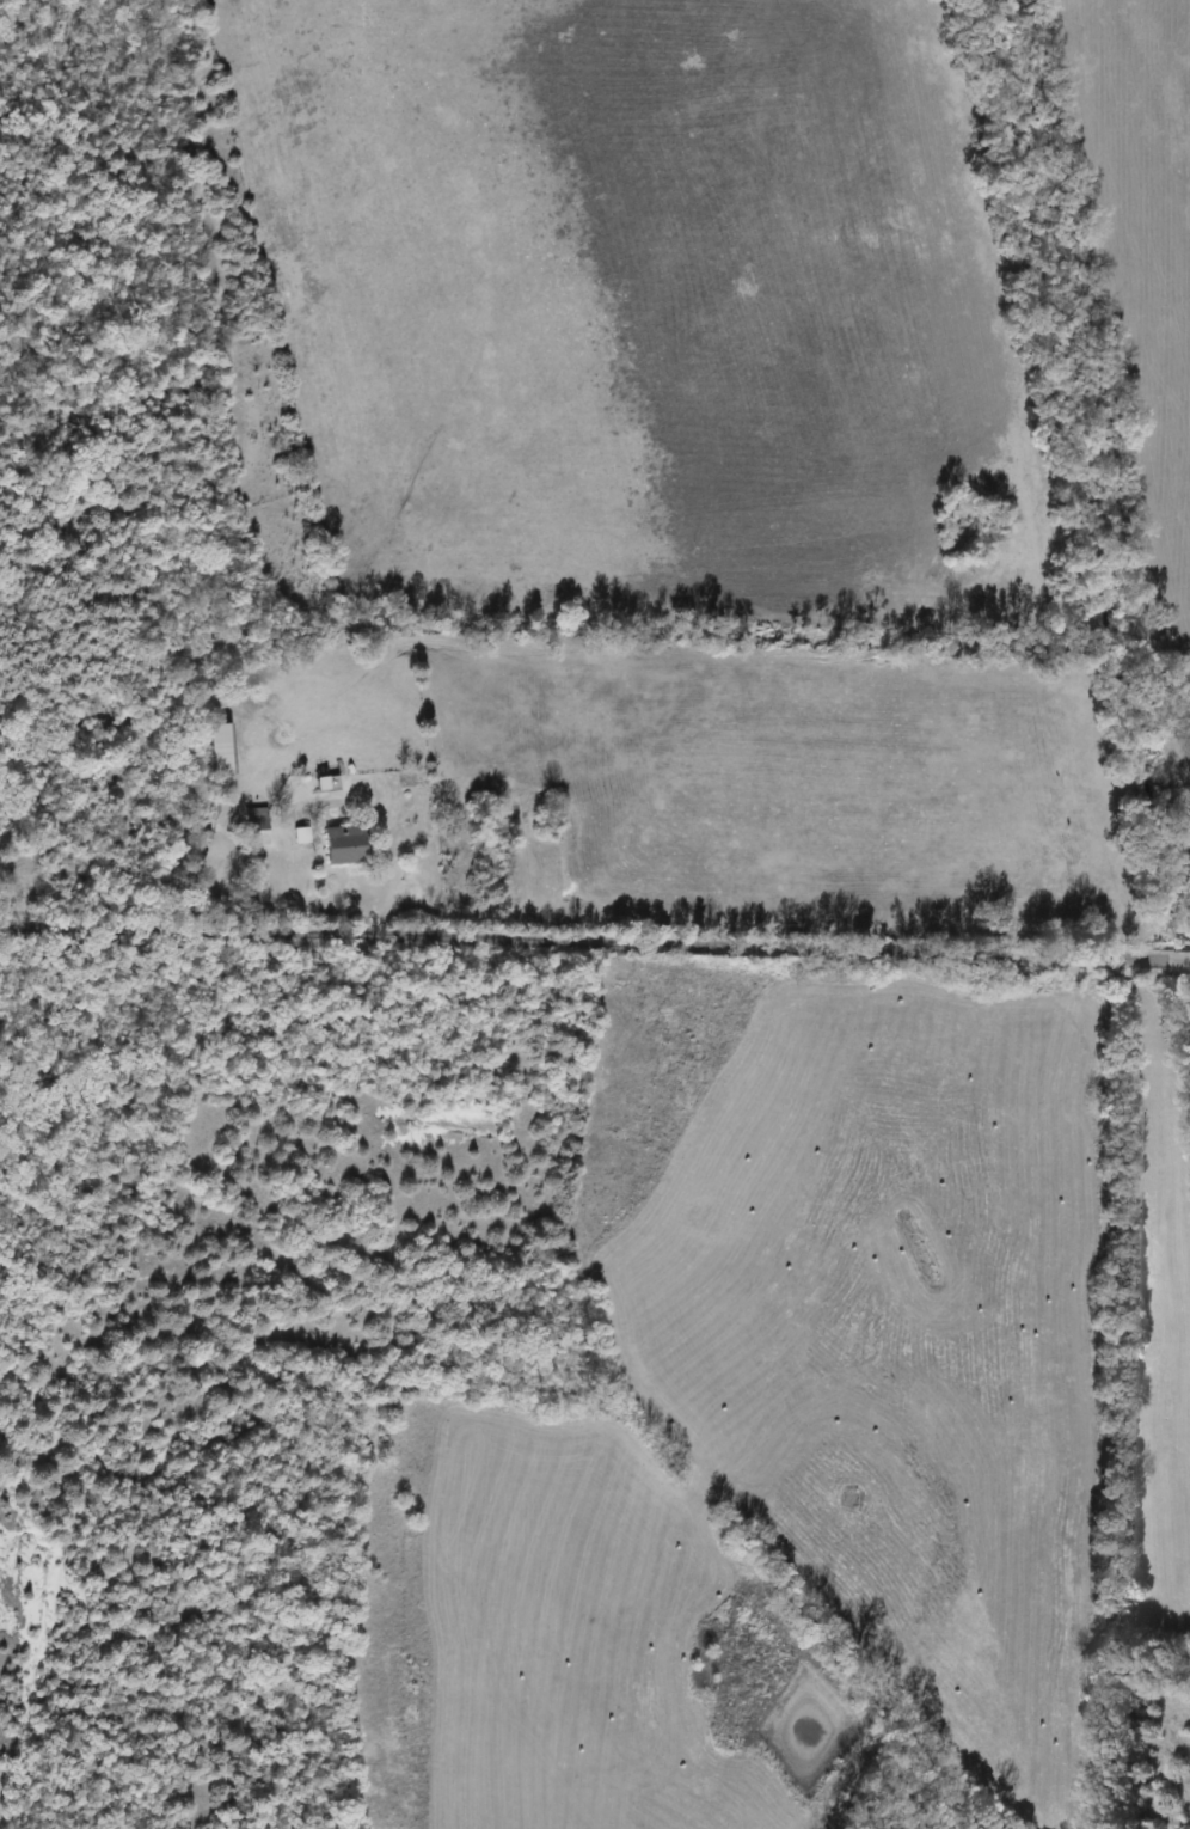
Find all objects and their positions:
building: (221, 750)
building: (323, 784)
building: (253, 827)
building: (339, 845)
road: (386, 850)
road: (594, 941)

